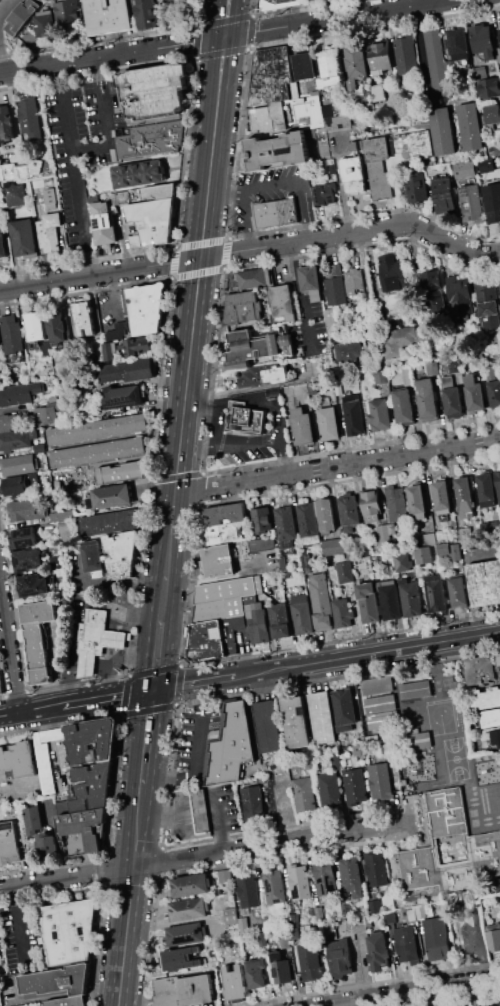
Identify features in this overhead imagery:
building: (278, 4)
building: (68, 11)
building: (148, 13)
building: (21, 15)
building: (108, 16)
road: (338, 17)
building: (46, 23)
building: (499, 32)
traffic signals: (233, 35)
traffic signals: (216, 37)
building: (483, 40)
building: (458, 42)
road: (421, 44)
road: (215, 46)
road: (230, 46)
building: (499, 49)
road: (116, 53)
building: (406, 54)
building: (435, 57)
building: (380, 58)
building: (499, 58)
building: (303, 65)
building: (355, 65)
building: (329, 70)
building: (271, 75)
building: (489, 87)
building: (155, 90)
building: (378, 92)
building: (315, 93)
building: (335, 110)
building: (307, 112)
building: (492, 114)
building: (29, 117)
building: (269, 118)
road: (105, 120)
building: (337, 122)
building: (6, 123)
building: (470, 126)
building: (355, 127)
building: (442, 131)
building: (151, 139)
building: (413, 144)
building: (354, 146)
parking lot: (81, 149)
building: (277, 150)
building: (494, 150)
building: (378, 167)
building: (20, 169)
building: (332, 171)
building: (138, 173)
building: (352, 174)
road: (74, 183)
building: (416, 187)
road: (280, 189)
building: (15, 193)
building: (324, 193)
building: (443, 194)
building: (49, 197)
building: (492, 202)
building: (470, 203)
building: (149, 211)
building: (275, 212)
building: (105, 228)
building: (49, 232)
building: (25, 238)
building: (135, 240)
building: (2, 244)
road: (253, 248)
traffic signals: (200, 257)
building: (393, 273)
building: (253, 279)
building: (499, 280)
building: (310, 281)
building: (354, 282)
building: (335, 290)
road: (301, 295)
building: (435, 295)
building: (460, 297)
building: (487, 301)
building: (283, 302)
building: (242, 307)
building: (143, 309)
building: (83, 317)
building: (331, 317)
building: (35, 325)
building: (57, 327)
building: (119, 330)
road: (191, 330)
building: (12, 334)
building: (398, 340)
building: (135, 347)
building: (257, 347)
building: (46, 348)
building: (0, 349)
building: (109, 350)
building: (348, 353)
building: (478, 359)
building: (454, 365)
building: (431, 368)
building: (127, 370)
building: (265, 375)
building: (407, 375)
building: (380, 376)
building: (150, 389)
building: (272, 392)
building: (19, 393)
building: (474, 393)
building: (494, 393)
building: (451, 396)
building: (123, 397)
building: (427, 399)
road: (201, 402)
road: (264, 405)
building: (403, 405)
building: (47, 413)
building: (379, 414)
building: (354, 415)
building: (244, 420)
building: (8, 422)
road: (216, 423)
building: (329, 423)
building: (302, 426)
building: (98, 430)
building: (14, 440)
road: (229, 442)
building: (39, 448)
building: (98, 452)
road: (284, 455)
building: (18, 464)
road: (337, 466)
building: (122, 472)
building: (19, 483)
building: (497, 484)
building: (487, 490)
building: (112, 496)
building: (442, 496)
building: (465, 497)
building: (417, 501)
building: (397, 503)
building: (371, 505)
building: (23, 508)
building: (349, 511)
building: (225, 514)
building: (325, 515)
building: (60, 516)
building: (262, 518)
building: (109, 522)
building: (308, 522)
building: (286, 525)
building: (490, 525)
building: (68, 532)
building: (222, 533)
building: (464, 533)
building: (385, 535)
building: (442, 536)
building: (24, 537)
building: (430, 539)
building: (261, 543)
building: (333, 546)
building: (444, 548)
building: (455, 552)
building: (357, 553)
building: (121, 554)
building: (424, 555)
building: (27, 559)
building: (93, 559)
building: (219, 560)
building: (306, 560)
building: (58, 561)
building: (401, 561)
building: (284, 562)
building: (345, 571)
building: (286, 574)
building: (484, 582)
building: (33, 585)
building: (458, 591)
building: (435, 592)
building: (389, 594)
building: (410, 597)
building: (321, 601)
building: (342, 612)
building: (302, 613)
road: (131, 614)
building: (228, 620)
building: (279, 620)
building: (257, 623)
road: (159, 629)
building: (38, 637)
building: (95, 640)
road: (10, 646)
road: (368, 653)
building: (499, 659)
building: (479, 669)
road: (194, 682)
building: (377, 685)
building: (1, 686)
building: (415, 689)
traffic signals: (153, 690)
building: (485, 698)
road: (76, 702)
building: (380, 704)
building: (344, 709)
building: (322, 717)
building: (491, 717)
building: (383, 719)
building: (296, 722)
building: (268, 726)
building: (495, 736)
building: (420, 740)
road: (146, 742)
building: (231, 745)
building: (358, 749)
road: (197, 754)
building: (18, 759)
building: (309, 761)
building: (81, 778)
building: (380, 780)
building: (355, 787)
building: (330, 789)
building: (304, 793)
building: (253, 802)
building: (62, 806)
building: (14, 807)
building: (201, 812)
road: (220, 819)
building: (34, 820)
road: (137, 831)
building: (483, 841)
building: (9, 843)
building: (49, 845)
road: (202, 854)
building: (376, 868)
building: (225, 875)
building: (351, 876)
building: (324, 877)
building: (299, 882)
building: (190, 885)
building: (274, 887)
building: (249, 890)
building: (374, 906)
building: (187, 909)
building: (346, 910)
building: (429, 910)
building: (420, 912)
building: (318, 913)
building: (231, 915)
building: (390, 916)
building: (268, 920)
building: (362, 923)
road: (18, 925)
building: (243, 928)
building: (69, 930)
building: (185, 934)
building: (294, 934)
road: (125, 936)
building: (436, 938)
building: (493, 940)
building: (284, 941)
building: (406, 944)
road: (481, 945)
building: (0, 946)
building: (377, 950)
building: (181, 958)
building: (339, 958)
building: (311, 961)
building: (281, 968)
building: (256, 972)
building: (58, 980)
building: (234, 982)
road: (414, 990)
building: (183, 991)
building: (68, 1001)
building: (488, 1005)

